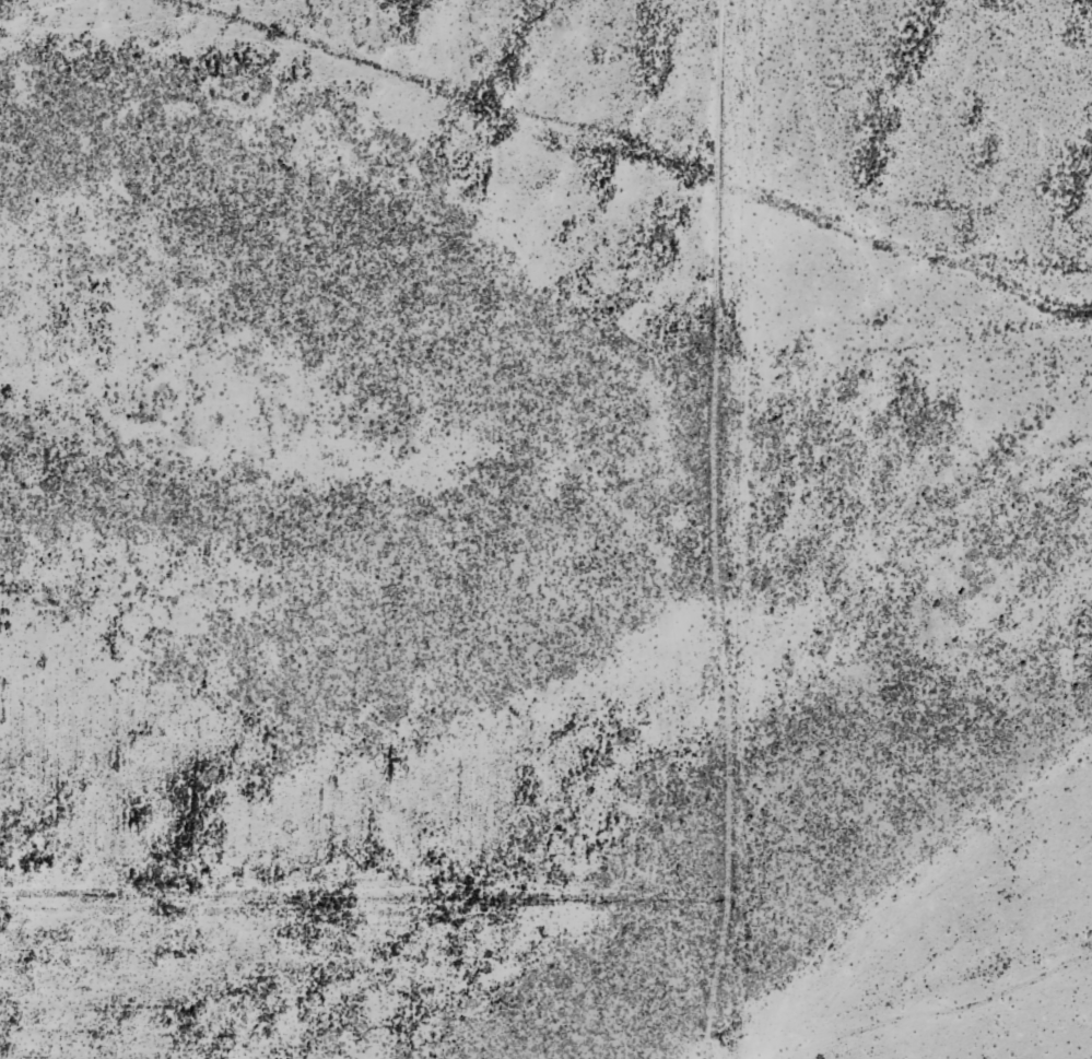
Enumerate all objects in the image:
road: (877, 289)
road: (658, 529)
road: (321, 920)

